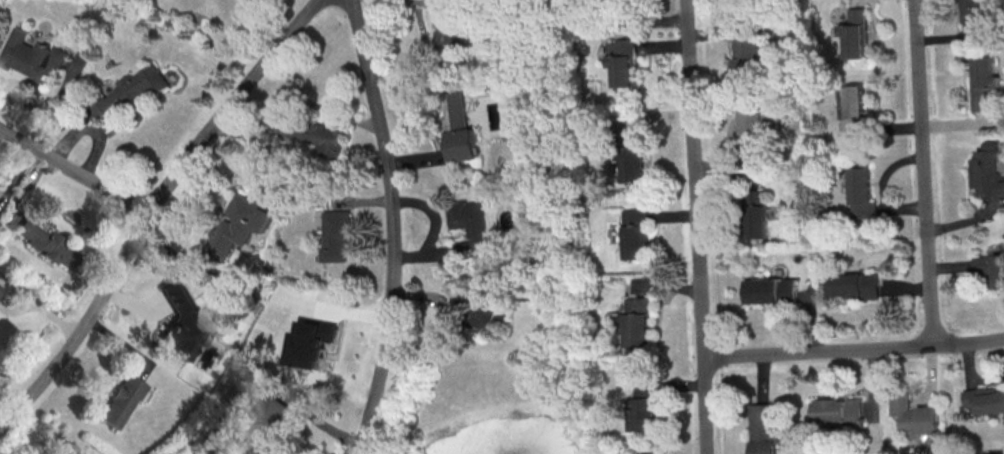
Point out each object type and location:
building: (975, 17)
building: (449, 27)
building: (855, 34)
building: (31, 56)
building: (748, 60)
building: (622, 62)
building: (986, 71)
building: (141, 84)
building: (980, 101)
building: (852, 108)
building: (462, 131)
building: (318, 136)
building: (633, 155)
building: (988, 170)
road: (922, 173)
road: (72, 174)
building: (861, 193)
road: (150, 207)
building: (756, 213)
building: (470, 220)
building: (237, 226)
road: (697, 226)
road: (394, 227)
building: (338, 235)
building: (47, 243)
building: (990, 267)
building: (853, 285)
building: (770, 290)
building: (487, 314)
building: (639, 322)
building: (185, 323)
building: (312, 343)
road: (854, 351)
building: (121, 400)
building: (985, 400)
building: (840, 410)
building: (646, 414)
building: (915, 417)
building: (265, 419)
building: (764, 447)

